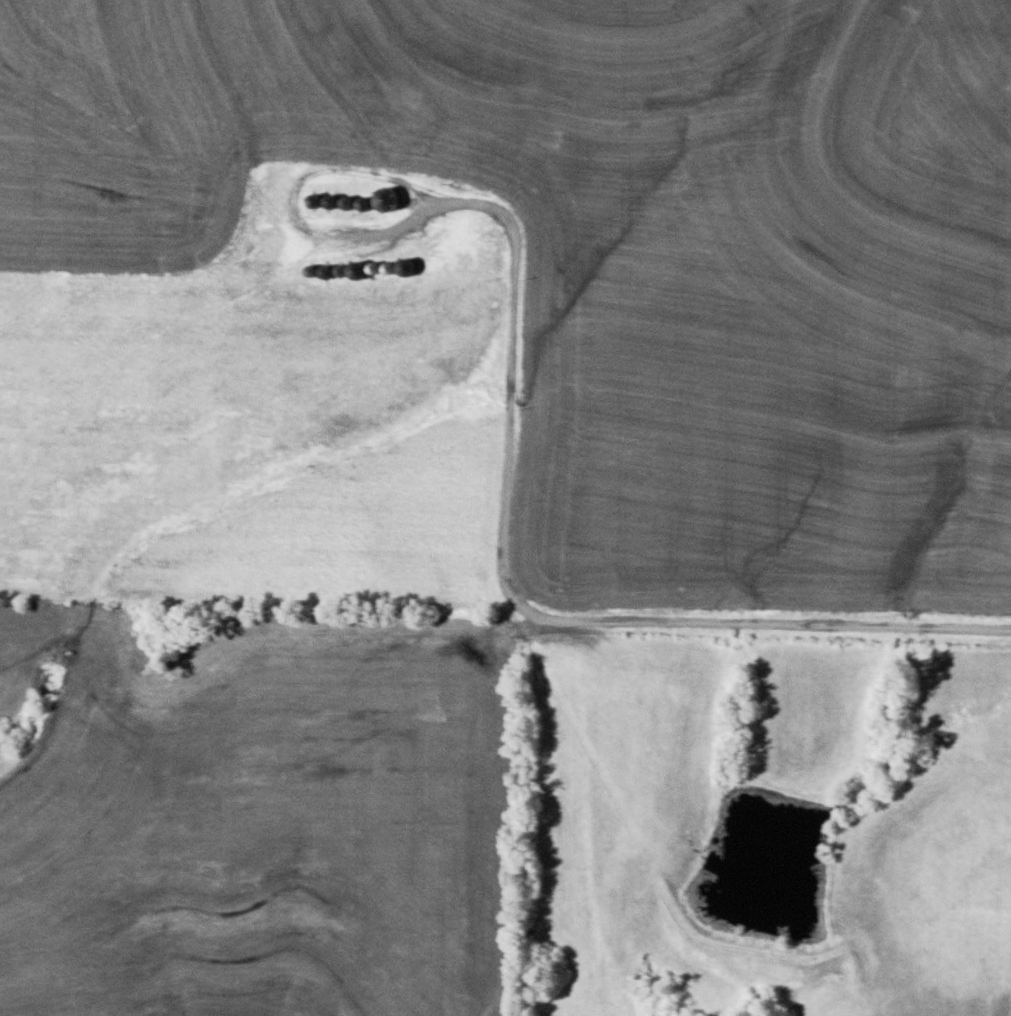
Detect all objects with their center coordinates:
building: (403, 105)
building: (437, 235)
road: (698, 611)

